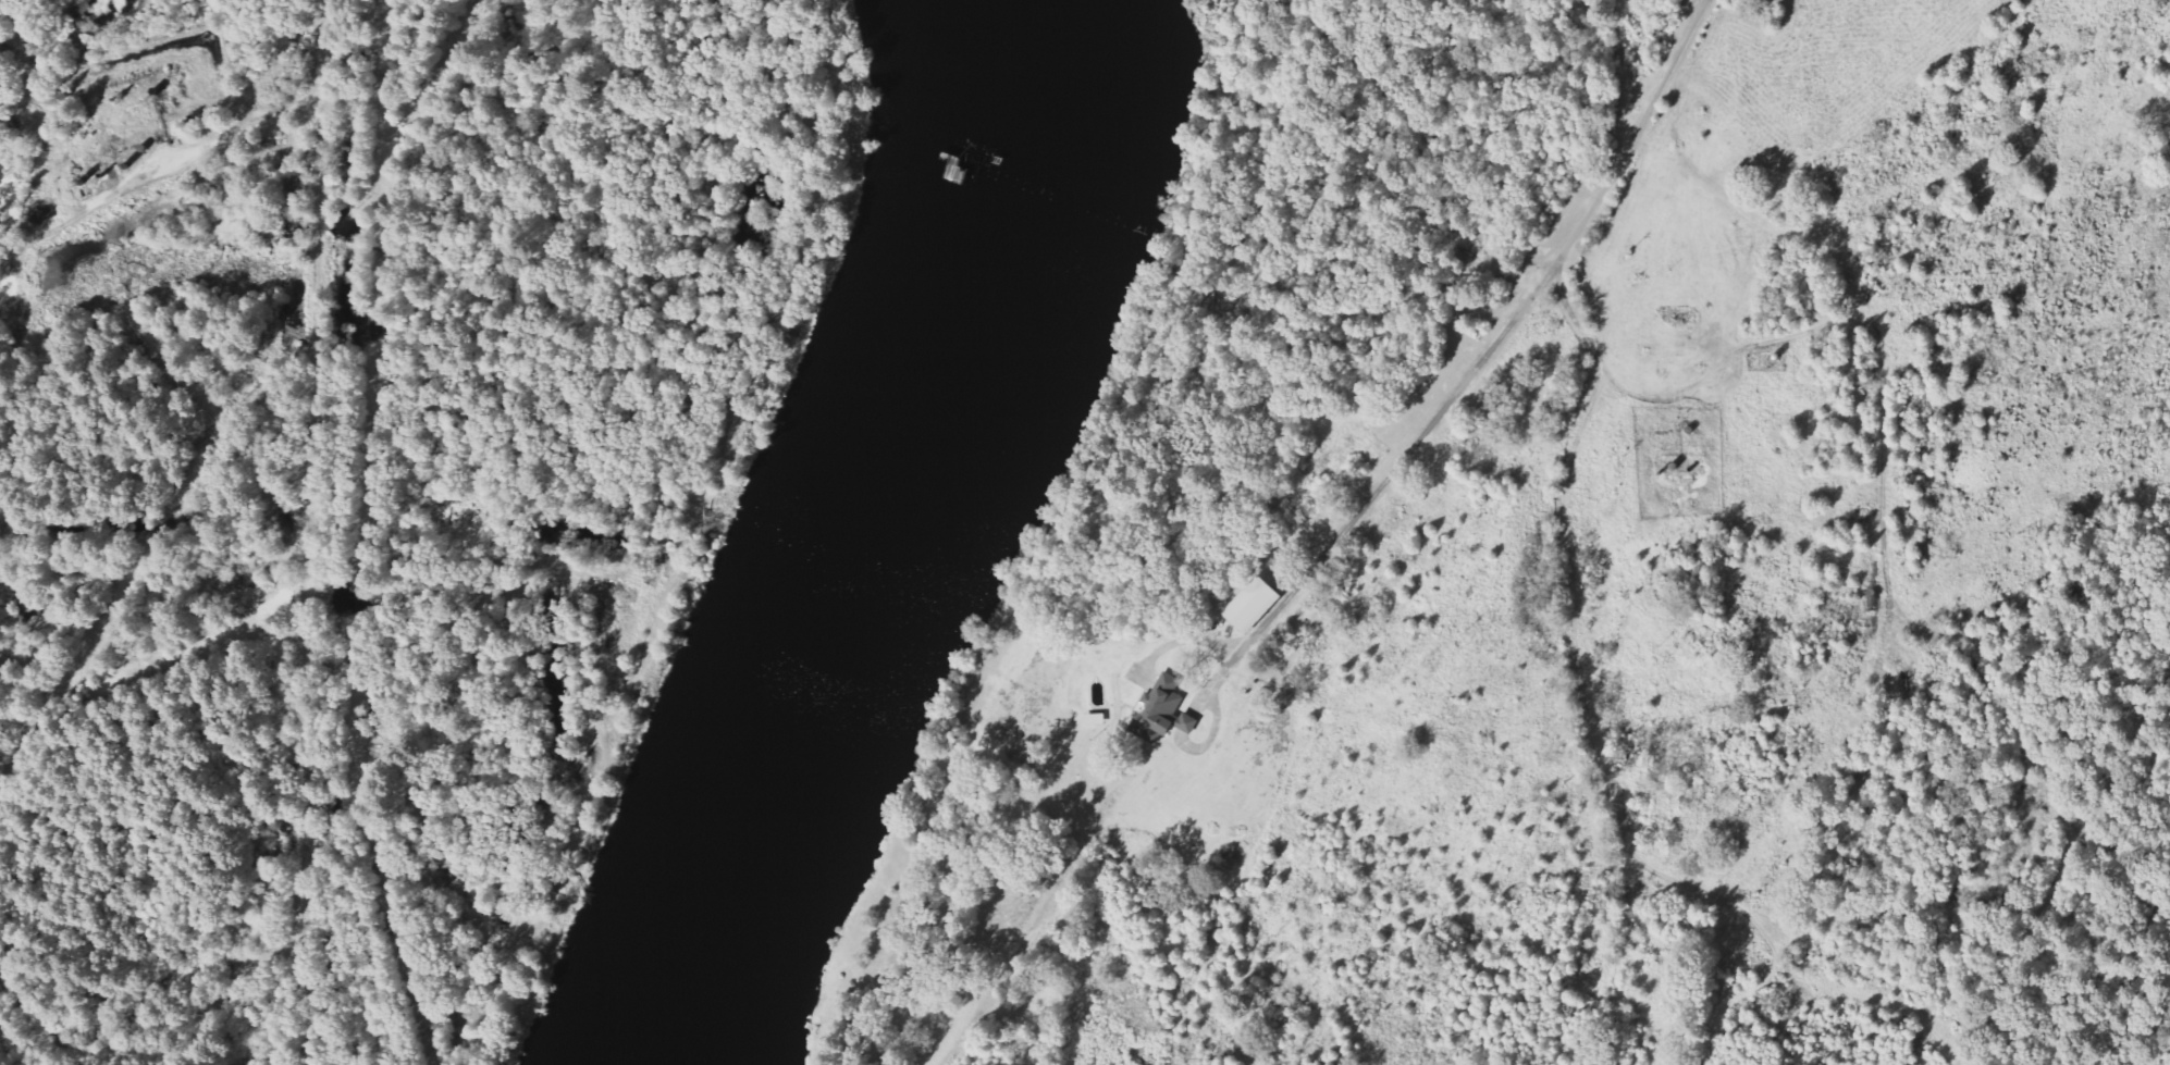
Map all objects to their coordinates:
road: (160, 176)
road: (1492, 347)
road: (1887, 462)
road: (315, 537)
road: (293, 552)
building: (1256, 605)
road: (649, 672)
building: (1157, 709)
road: (392, 897)
road: (1044, 914)
road: (197, 1003)
road: (24, 1041)
road: (2132, 1041)

